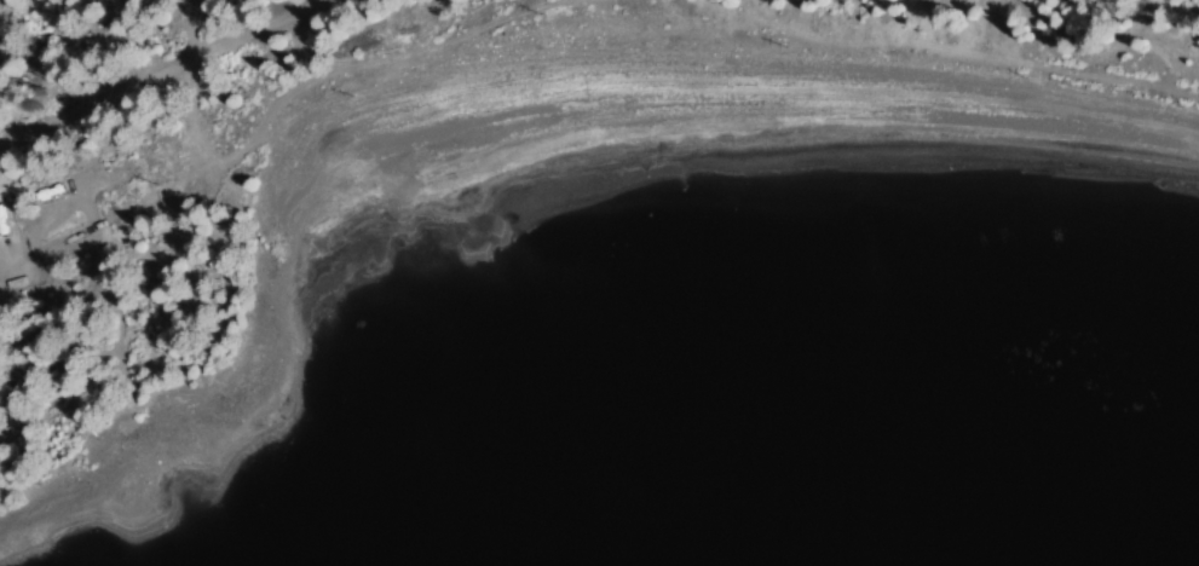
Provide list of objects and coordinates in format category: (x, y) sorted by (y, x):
railway: (152, 69)
road: (212, 127)

